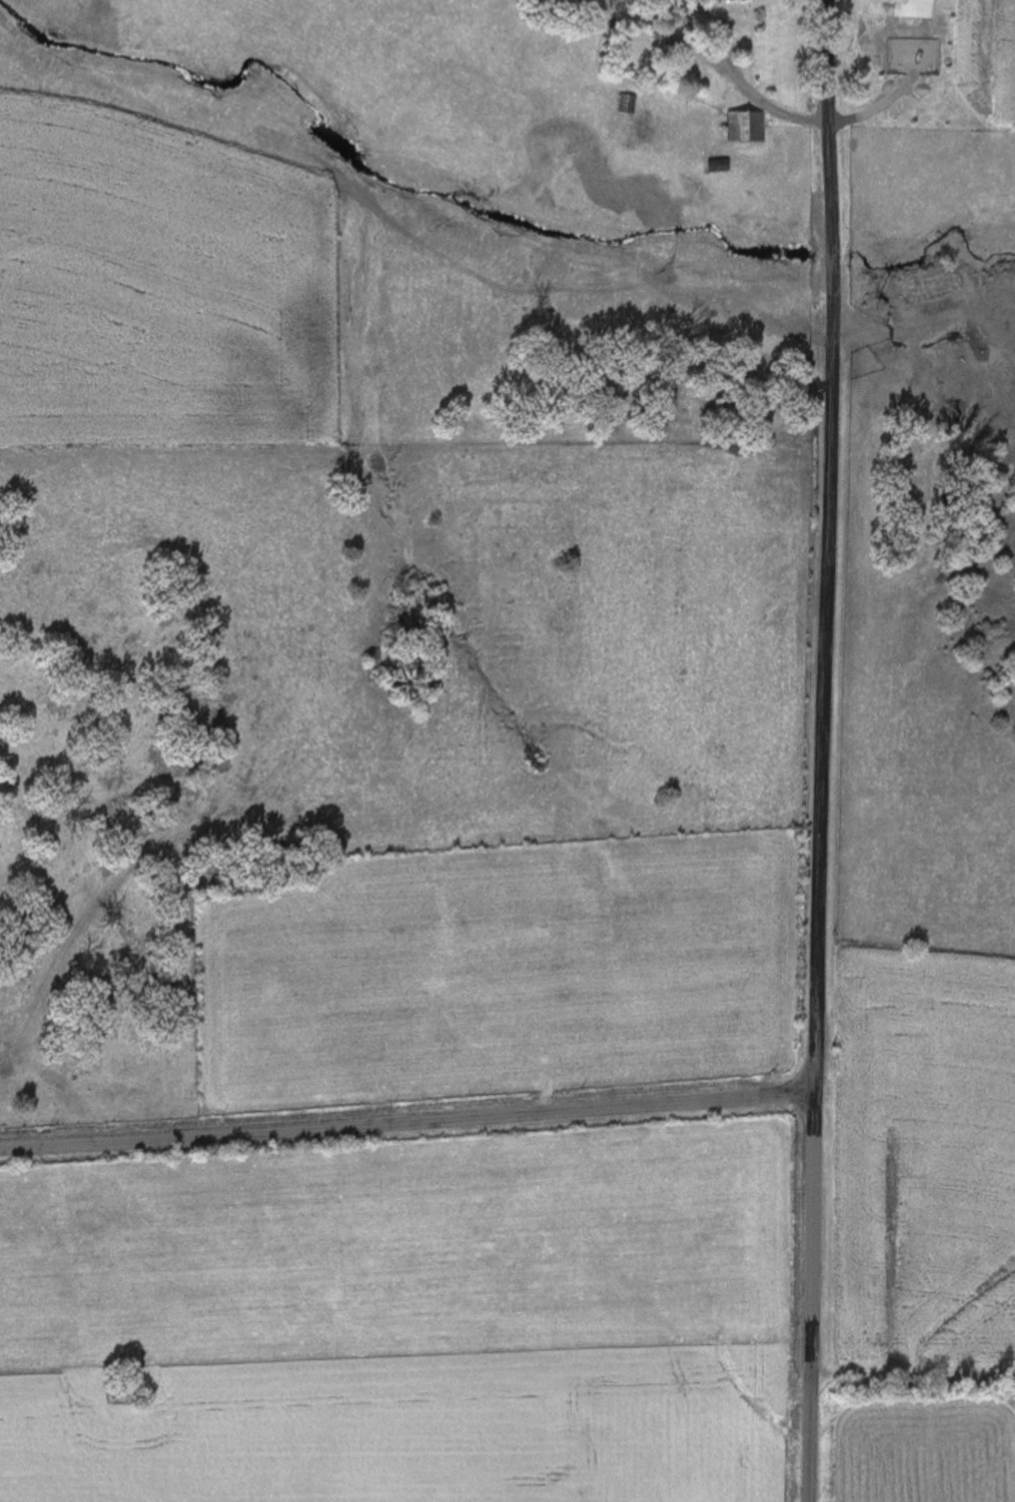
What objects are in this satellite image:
building: (916, 9)
building: (677, 43)
building: (902, 62)
building: (629, 104)
building: (749, 127)
road: (824, 751)
road: (408, 1118)
road: (913, 1396)

